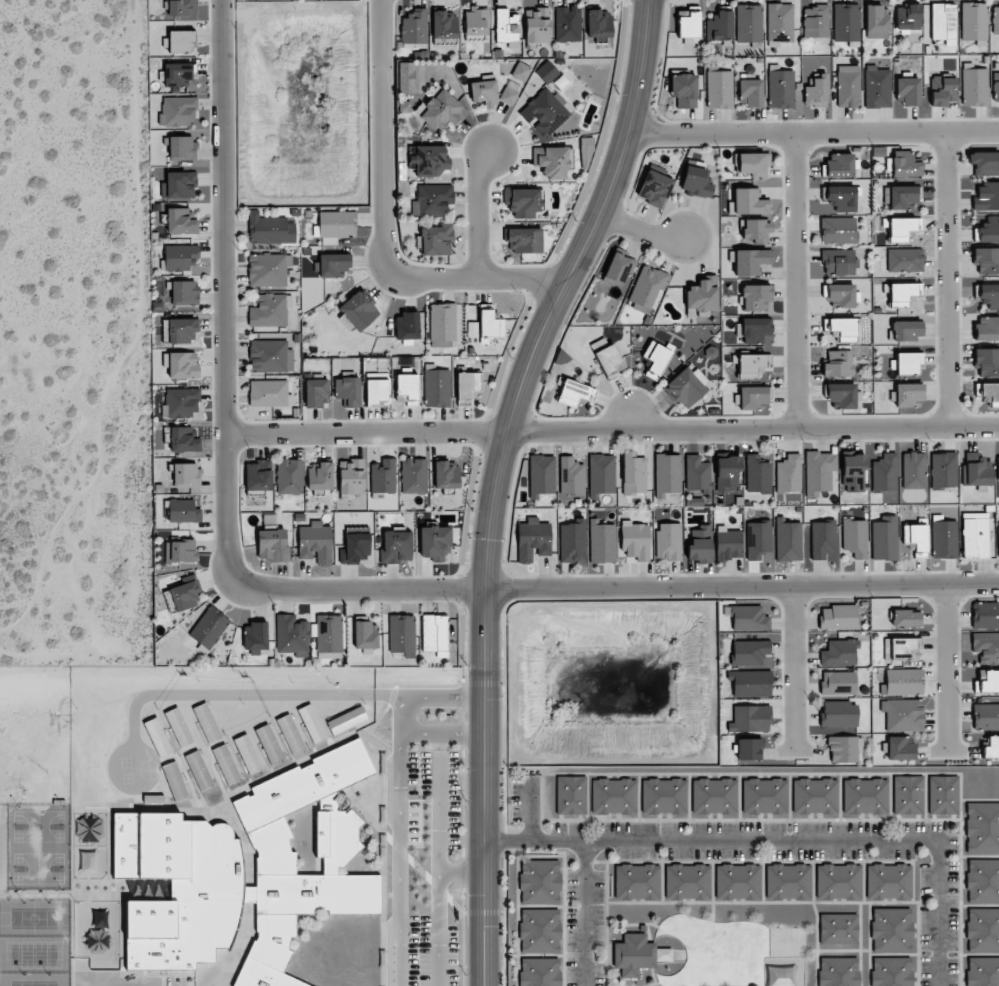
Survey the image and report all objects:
building: (181, 7)
building: (907, 17)
building: (995, 19)
building: (815, 21)
building: (942, 21)
building: (476, 22)
building: (845, 22)
building: (876, 22)
building: (974, 22)
building: (567, 23)
building: (598, 23)
building: (748, 23)
building: (779, 23)
building: (444, 25)
building: (537, 25)
building: (414, 26)
building: (506, 26)
building: (719, 26)
building: (688, 27)
building: (180, 41)
building: (520, 71)
building: (546, 72)
building: (176, 73)
building: (405, 78)
building: (974, 86)
building: (995, 86)
building: (877, 87)
building: (719, 89)
building: (780, 89)
building: (847, 89)
building: (683, 90)
building: (942, 90)
building: (816, 91)
building: (907, 91)
building: (484, 92)
building: (750, 93)
building: (508, 96)
building: (439, 109)
building: (177, 111)
building: (544, 112)
road: (812, 134)
building: (182, 148)
building: (430, 160)
building: (552, 161)
building: (752, 163)
building: (984, 163)
building: (840, 165)
building: (903, 165)
building: (696, 182)
building: (654, 188)
building: (841, 197)
building: (903, 197)
building: (986, 197)
building: (432, 200)
building: (523, 201)
building: (749, 201)
road: (477, 212)
building: (180, 221)
building: (335, 224)
road: (386, 228)
road: (639, 228)
building: (901, 228)
building: (270, 229)
building: (754, 230)
building: (838, 230)
building: (989, 230)
building: (436, 239)
building: (524, 240)
building: (179, 258)
building: (905, 260)
building: (986, 260)
building: (750, 261)
building: (838, 262)
building: (333, 265)
building: (618, 269)
building: (268, 270)
road: (796, 282)
road: (945, 282)
building: (647, 286)
building: (184, 292)
road: (226, 292)
building: (903, 294)
building: (988, 294)
building: (841, 295)
building: (702, 296)
building: (754, 297)
building: (270, 310)
building: (358, 310)
building: (442, 324)
building: (489, 325)
building: (407, 326)
building: (842, 328)
building: (987, 328)
building: (471, 329)
building: (754, 329)
building: (179, 330)
building: (906, 330)
building: (270, 356)
building: (656, 358)
building: (609, 361)
building: (987, 362)
building: (906, 363)
building: (751, 364)
building: (838, 364)
building: (182, 365)
building: (467, 386)
building: (686, 386)
building: (436, 388)
building: (407, 389)
building: (347, 391)
building: (573, 392)
building: (988, 392)
building: (269, 393)
building: (316, 393)
building: (908, 394)
building: (841, 395)
building: (751, 396)
building: (181, 402)
road: (613, 432)
building: (997, 467)
building: (913, 470)
building: (943, 470)
building: (818, 472)
building: (633, 473)
building: (727, 473)
building: (854, 473)
building: (885, 473)
building: (978, 473)
building: (185, 474)
building: (446, 474)
building: (757, 474)
building: (788, 474)
building: (319, 475)
building: (413, 475)
building: (541, 475)
building: (601, 475)
building: (667, 475)
building: (697, 475)
building: (258, 476)
building: (289, 476)
building: (571, 476)
building: (351, 477)
building: (382, 478)
road: (496, 480)
building: (183, 511)
building: (975, 534)
building: (855, 537)
building: (822, 538)
building: (884, 538)
building: (916, 538)
building: (532, 539)
building: (944, 539)
building: (635, 540)
building: (758, 540)
building: (788, 540)
building: (601, 541)
building: (668, 541)
building: (998, 541)
building: (572, 542)
building: (315, 543)
building: (435, 543)
building: (699, 543)
building: (728, 543)
building: (272, 545)
building: (396, 546)
building: (355, 547)
building: (180, 551)
road: (620, 586)
building: (184, 596)
building: (985, 615)
building: (838, 617)
building: (905, 618)
building: (748, 619)
building: (209, 627)
building: (401, 633)
building: (365, 634)
building: (434, 634)
building: (291, 635)
building: (328, 636)
building: (255, 637)
building: (986, 646)
building: (899, 648)
building: (749, 652)
building: (839, 653)
road: (947, 668)
road: (793, 669)
building: (987, 681)
building: (903, 682)
building: (749, 683)
building: (838, 683)
road: (424, 697)
building: (838, 714)
building: (902, 714)
building: (985, 715)
building: (750, 719)
building: (310, 724)
building: (176, 727)
building: (289, 733)
road: (439, 734)
building: (154, 737)
building: (267, 743)
building: (991, 747)
building: (900, 748)
building: (749, 749)
building: (843, 749)
building: (247, 754)
building: (226, 764)
building: (197, 771)
building: (173, 780)
building: (570, 796)
building: (908, 796)
building: (943, 796)
building: (612, 797)
building: (664, 797)
building: (714, 797)
building: (814, 797)
building: (865, 797)
building: (765, 798)
parking lot: (431, 799)
road: (438, 803)
park: (37, 826)
building: (88, 829)
building: (981, 829)
road: (782, 839)
park: (3, 847)
road: (398, 859)
building: (175, 864)
park: (37, 868)
road: (458, 873)
building: (981, 881)
building: (539, 882)
building: (636, 882)
building: (687, 882)
building: (737, 882)
building: (788, 882)
building: (838, 882)
building: (888, 882)
road: (582, 912)
park: (33, 918)
road: (437, 929)
building: (838, 929)
building: (891, 930)
building: (981, 930)
building: (539, 931)
parking lot: (429, 951)
park: (31, 954)
building: (632, 954)
building: (539, 972)
building: (837, 972)
building: (890, 972)
building: (981, 972)
park: (32, 983)

